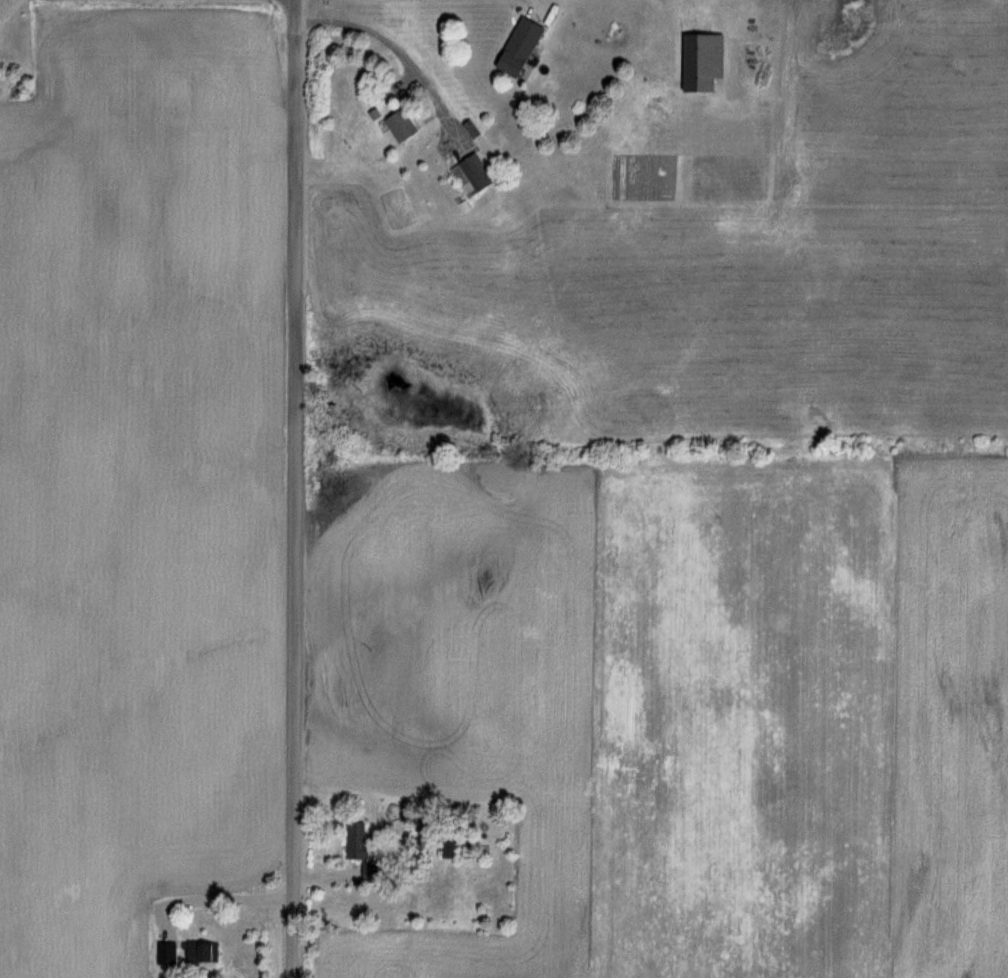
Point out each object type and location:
road: (537, 1)
building: (515, 46)
road: (396, 54)
building: (398, 125)
building: (471, 175)
road: (294, 489)
building: (355, 839)
road: (215, 897)
building: (199, 952)

